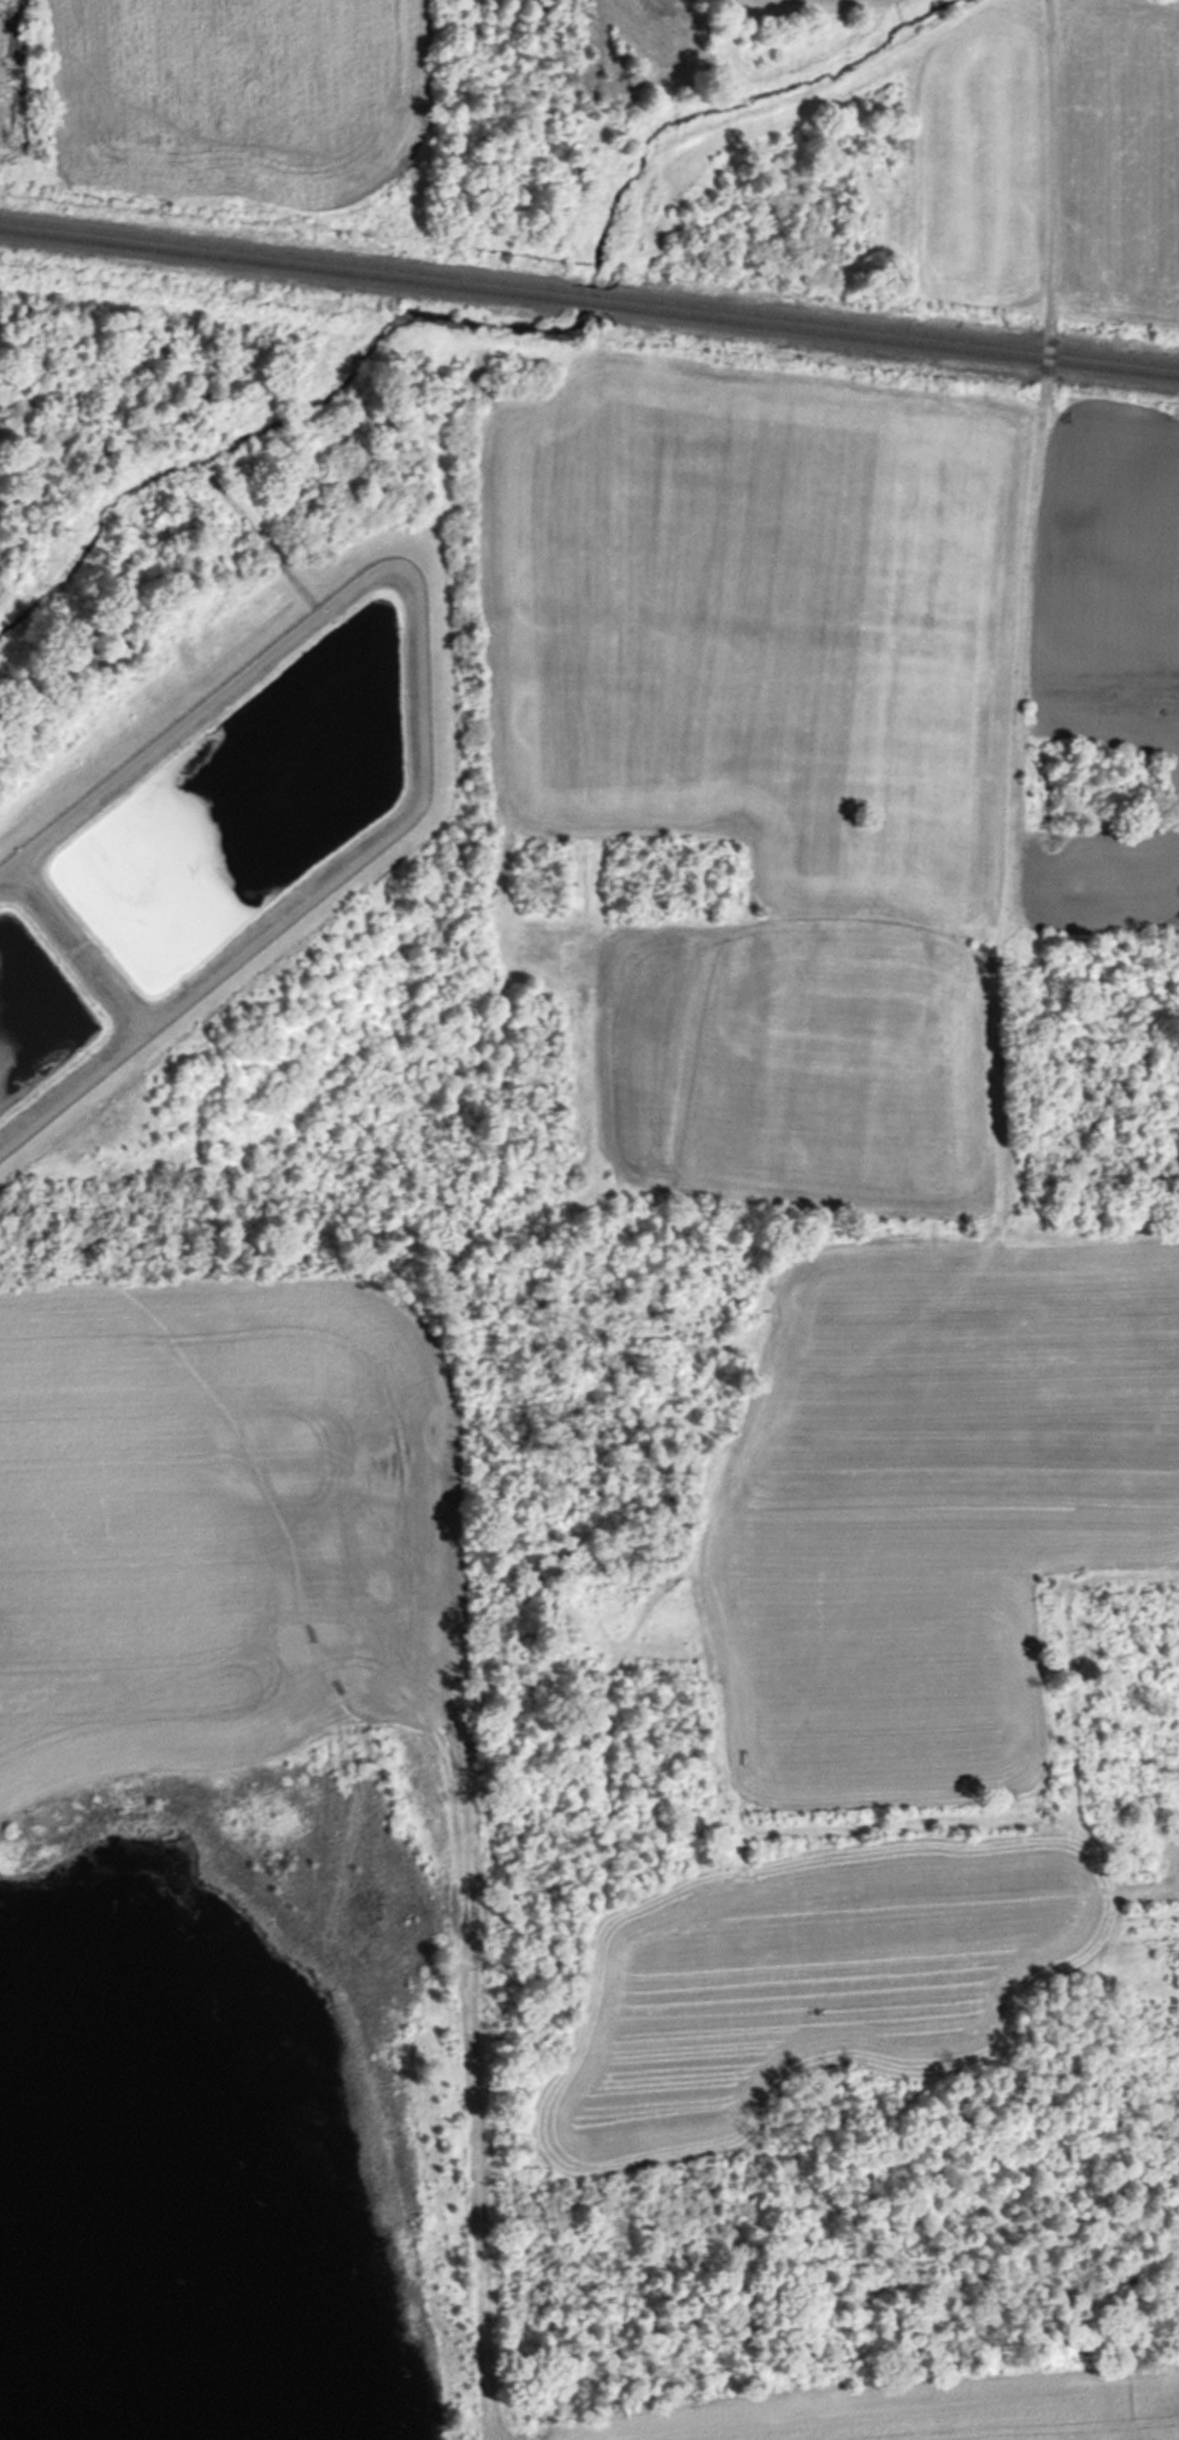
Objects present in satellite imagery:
railway: (589, 293)
railway: (589, 305)
river: (476, 322)

